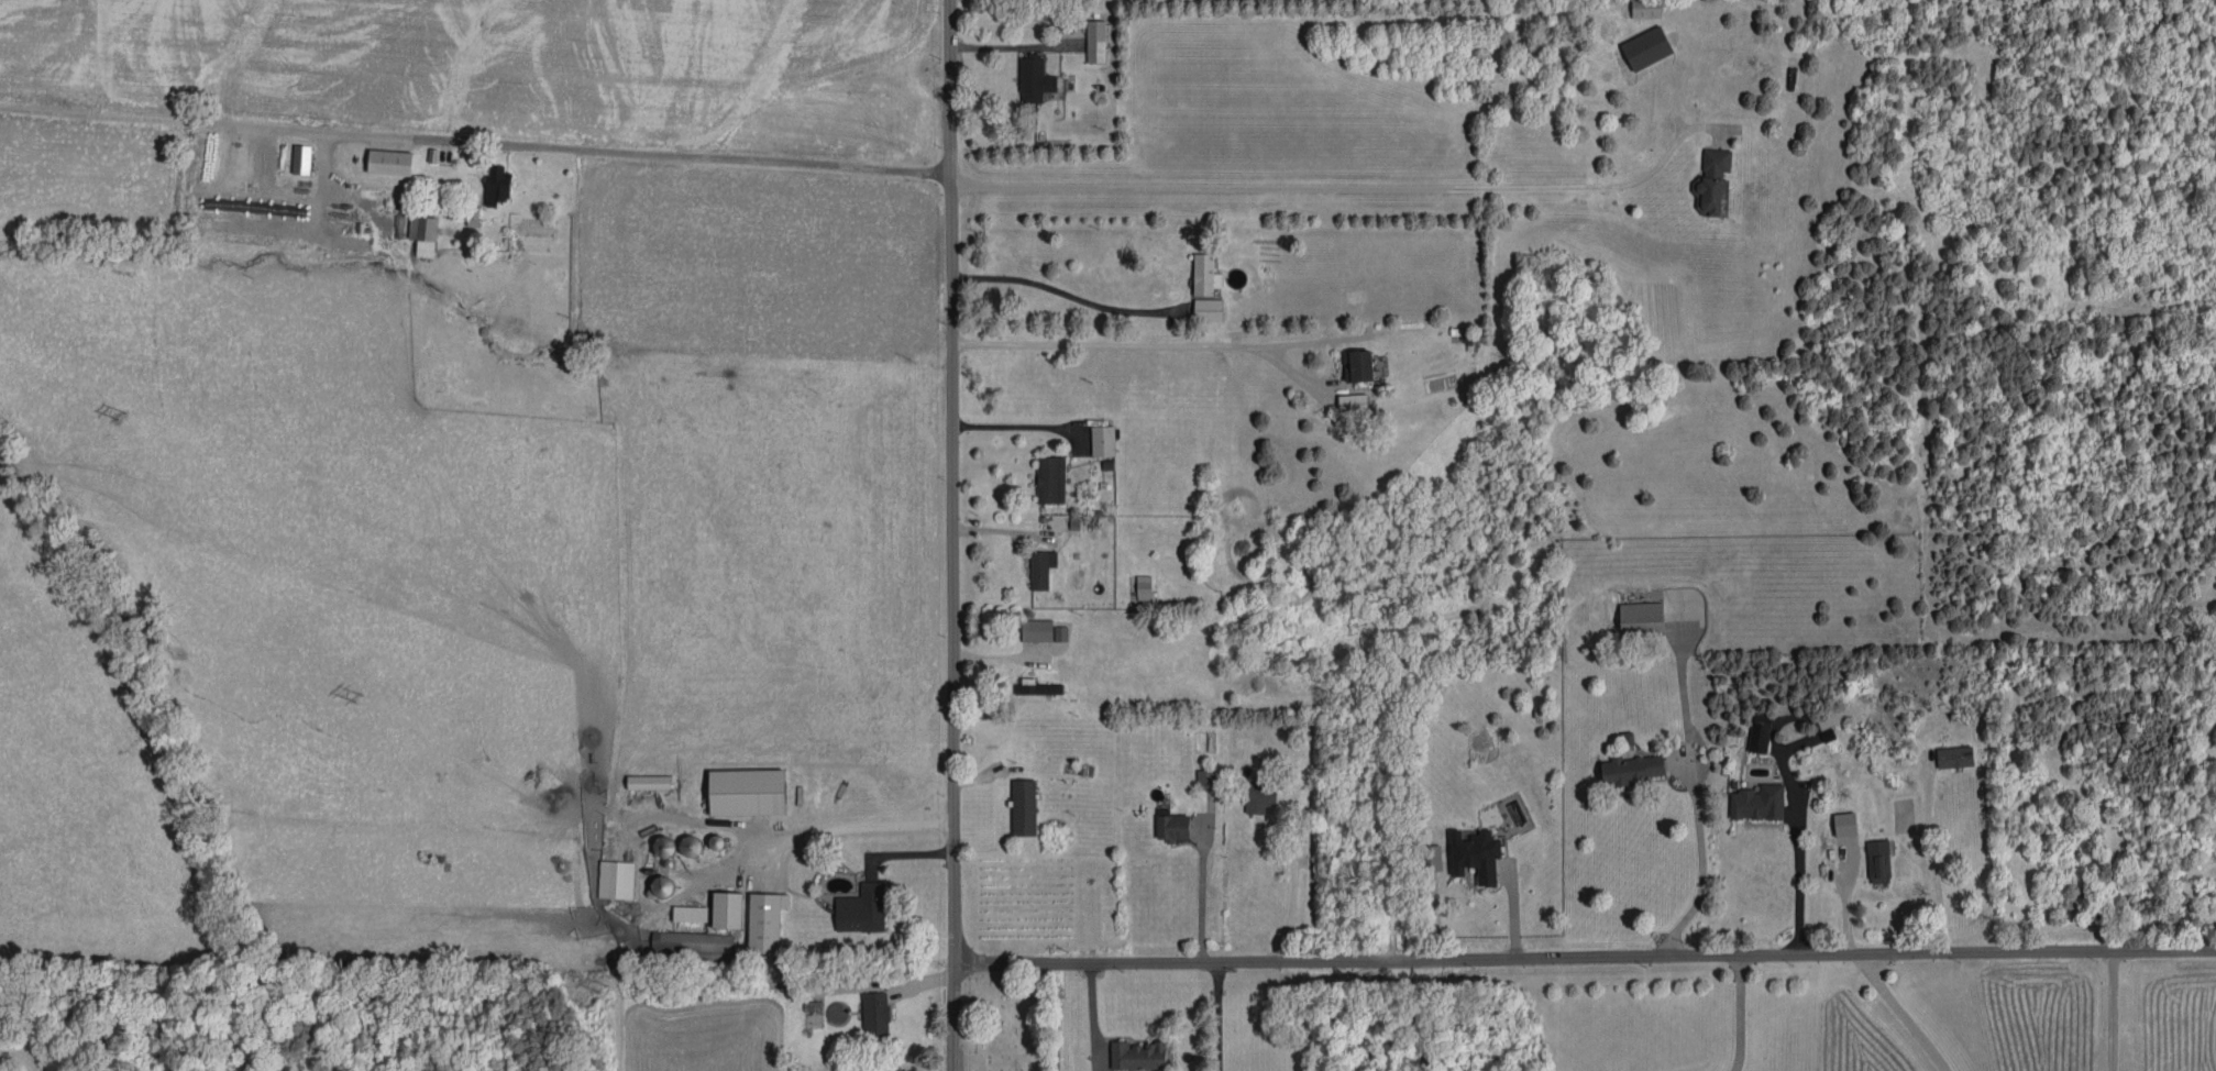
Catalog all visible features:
building: (1646, 9)
building: (1095, 41)
road: (1005, 46)
building: (1646, 47)
building: (1034, 79)
road: (474, 142)
building: (301, 159)
building: (390, 162)
building: (1712, 181)
building: (496, 186)
road: (1323, 189)
building: (423, 234)
building: (1205, 275)
road: (1070, 288)
building: (1208, 309)
road: (1133, 342)
building: (1358, 365)
building: (1353, 402)
power tower: (121, 416)
road: (1011, 424)
building: (1102, 441)
building: (1050, 479)
road: (952, 534)
building: (1041, 568)
building: (1144, 587)
building: (1641, 617)
building: (1037, 630)
building: (1037, 687)
power tower: (356, 695)
building: (1759, 737)
building: (1954, 757)
building: (1632, 769)
building: (1205, 777)
building: (648, 782)
building: (747, 792)
building: (1257, 796)
building: (1757, 803)
building: (1024, 807)
road: (675, 819)
building: (1844, 824)
building: (1171, 826)
building: (1475, 854)
building: (1430, 858)
road: (1929, 860)
building: (1878, 861)
road: (1698, 864)
road: (1797, 872)
building: (616, 880)
road: (1291, 894)
road: (1201, 896)
building: (862, 908)
building: (727, 909)
building: (690, 914)
building: (765, 921)
building: (692, 941)
road: (1585, 958)
power tower: (602, 987)
road: (2109, 1012)
building: (875, 1014)
road: (1738, 1014)
road: (1903, 1014)
road: (1216, 1016)
building: (1137, 1056)

